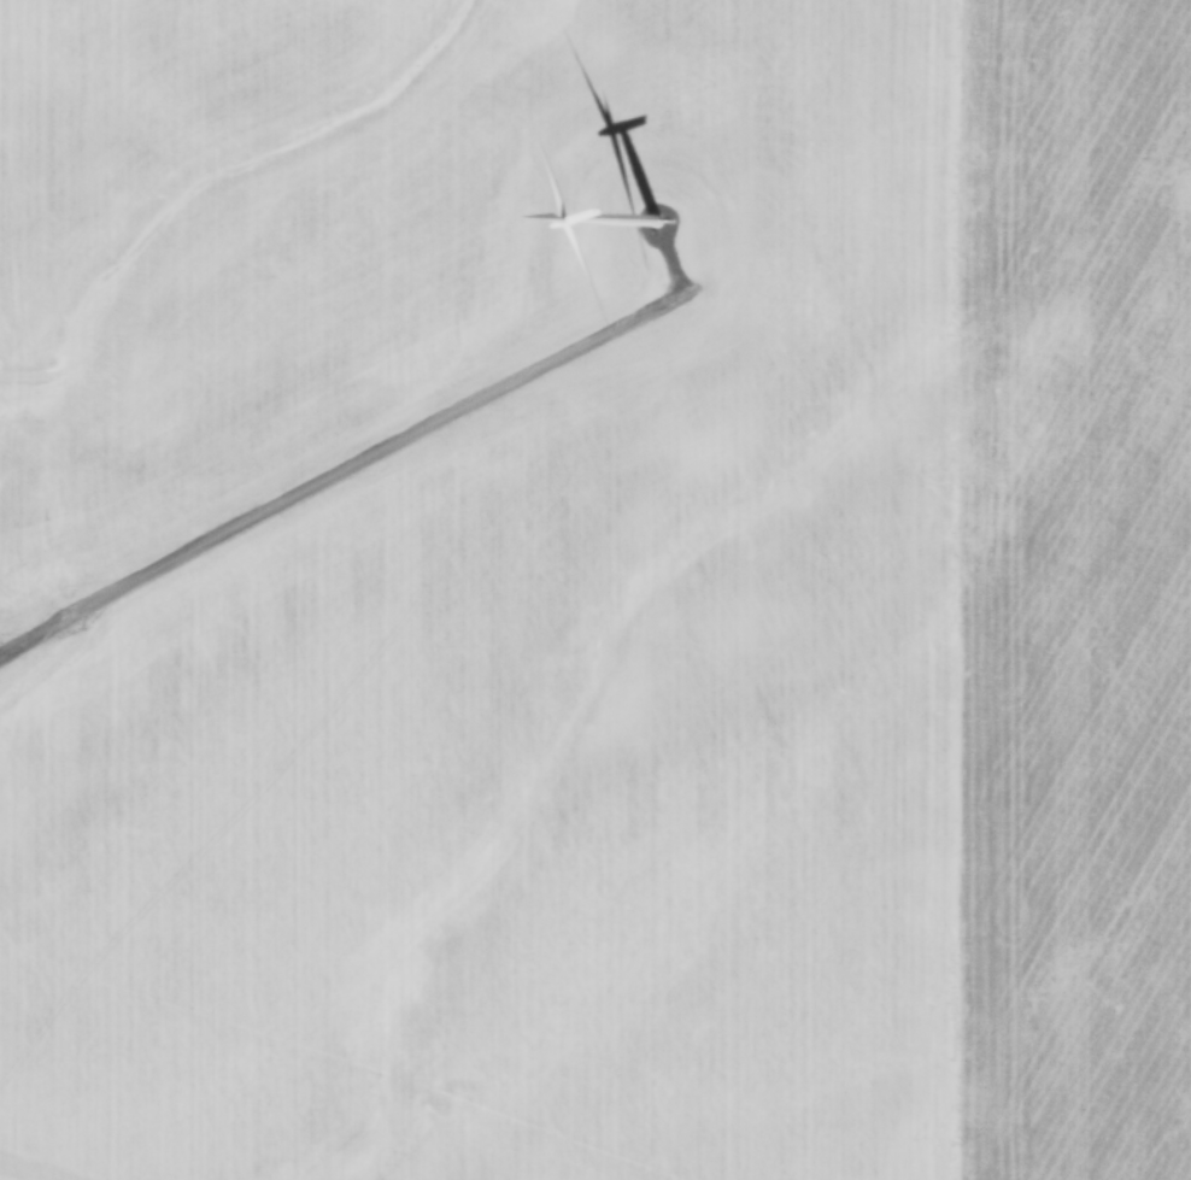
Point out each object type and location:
wind turbine: (645, 245)
road: (357, 445)

